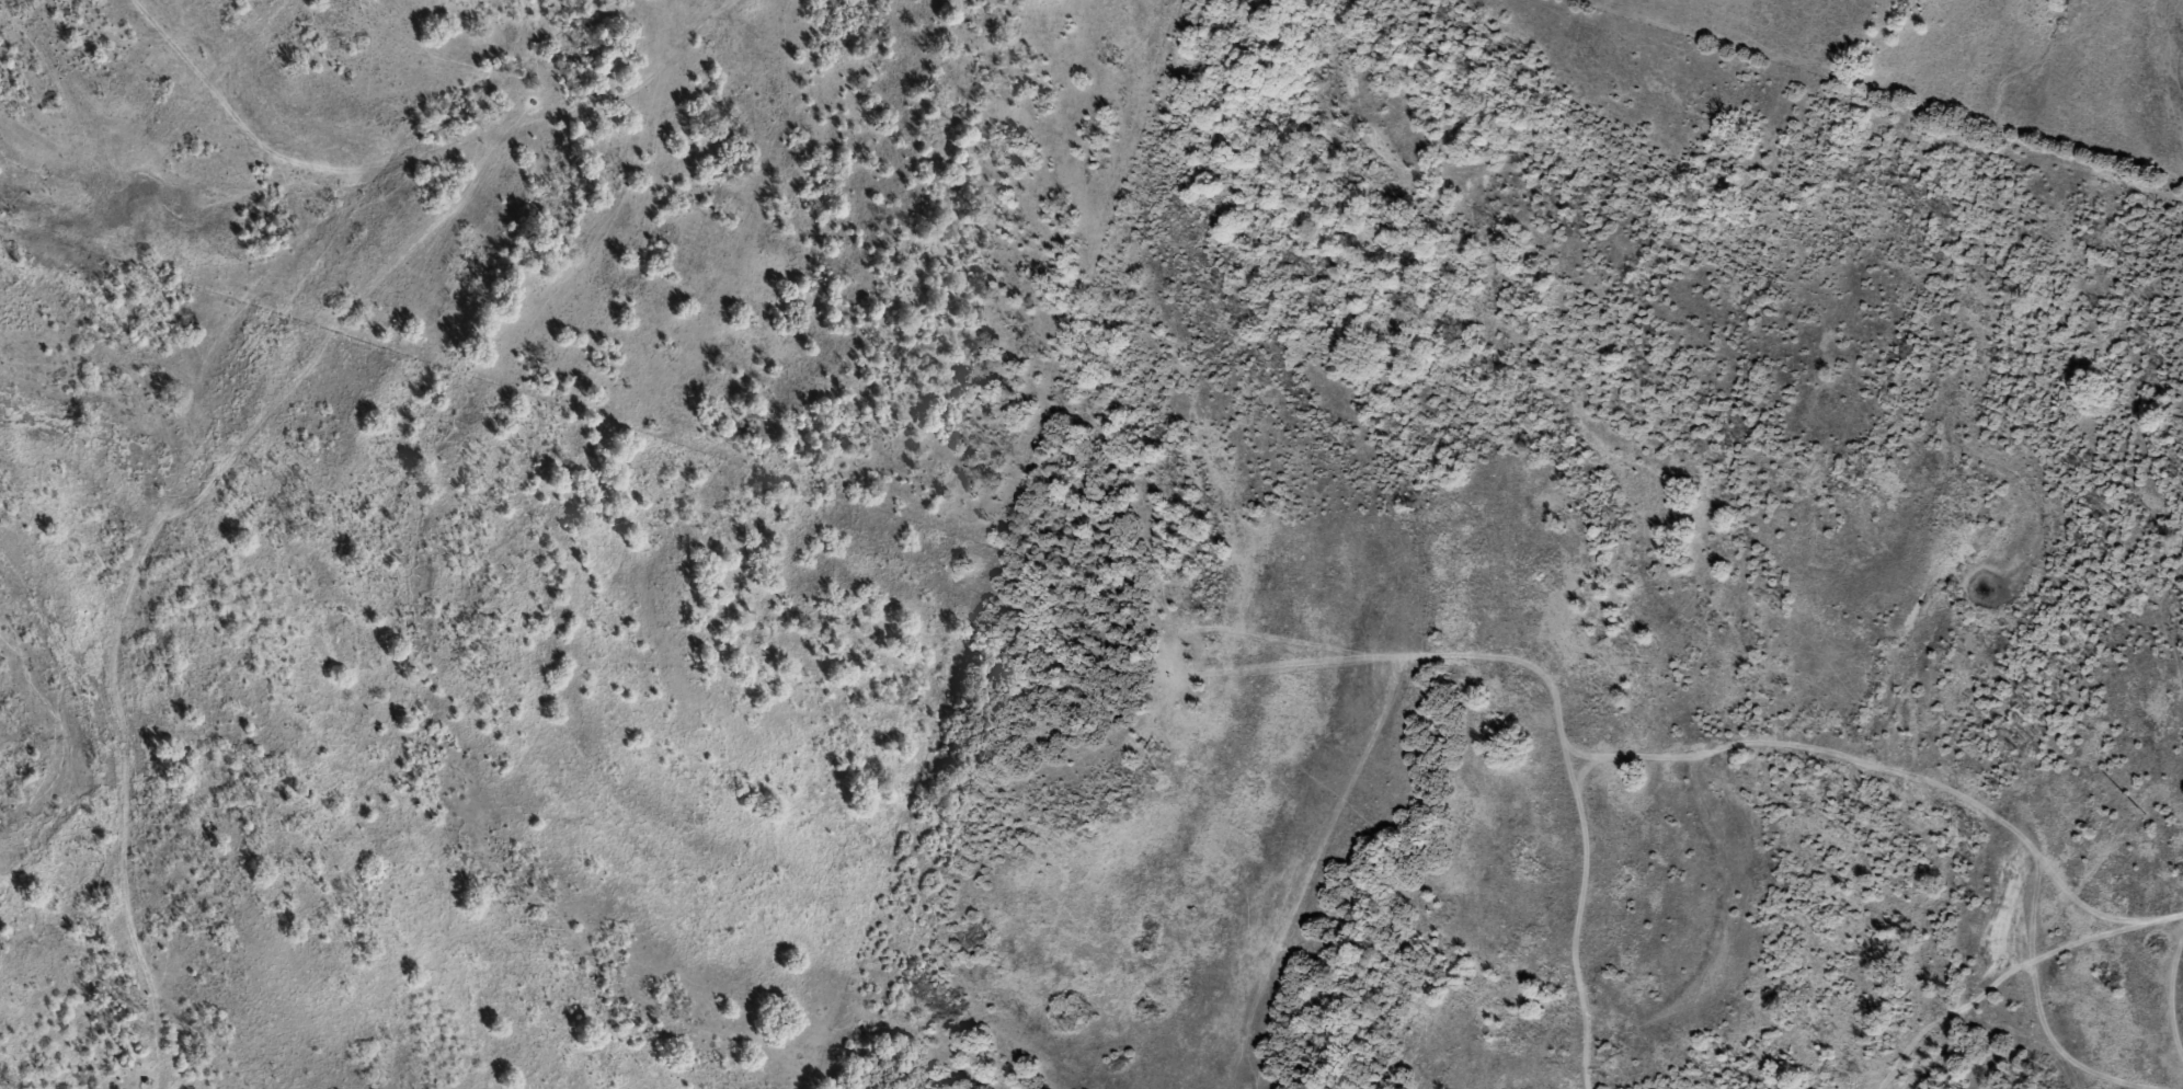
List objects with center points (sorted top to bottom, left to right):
power tower: (2141, 811)

